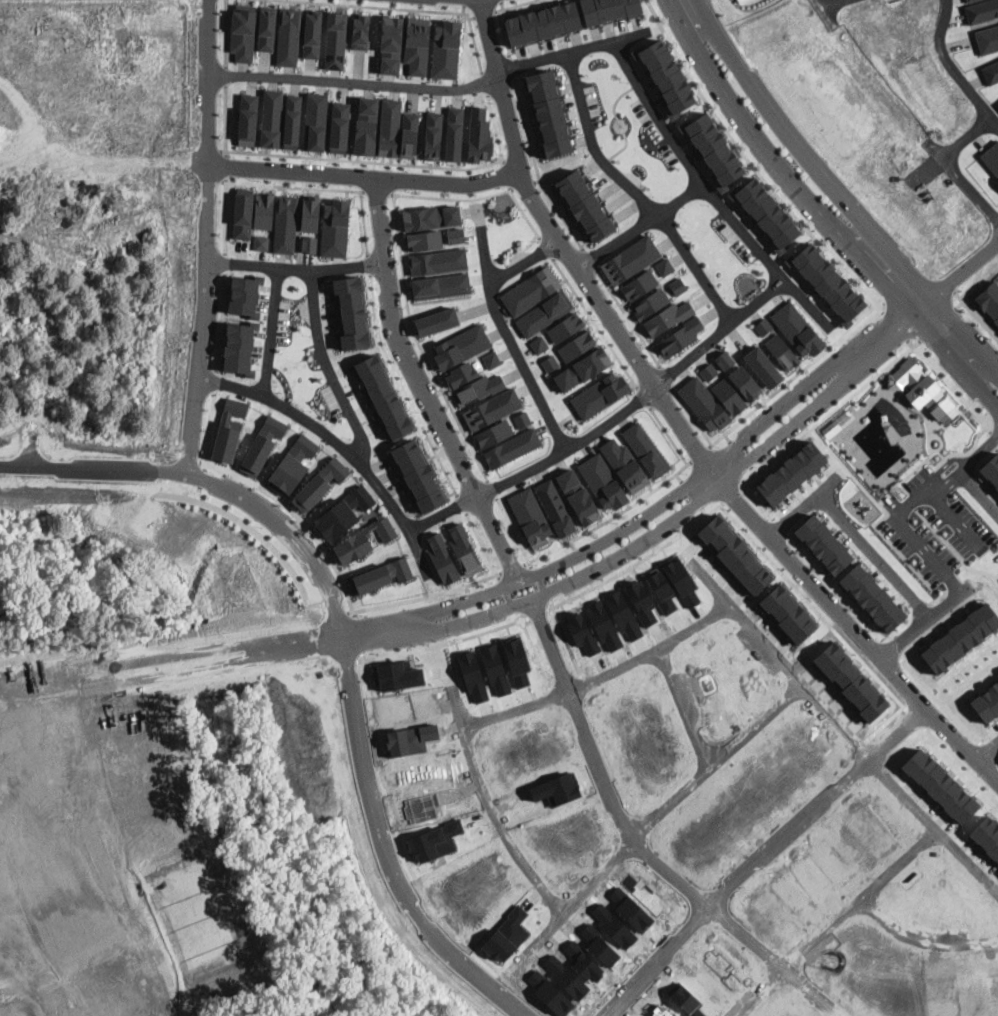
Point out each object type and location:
road: (501, 0)
road: (828, 0)
building: (970, 0)
road: (464, 2)
road: (503, 4)
road: (514, 5)
road: (384, 7)
road: (464, 8)
building: (608, 9)
building: (982, 10)
road: (484, 12)
building: (543, 22)
building: (267, 28)
building: (361, 30)
road: (226, 33)
building: (243, 33)
building: (312, 33)
road: (503, 33)
building: (288, 37)
building: (987, 39)
building: (335, 40)
building: (390, 43)
building: (418, 44)
road: (475, 45)
building: (446, 49)
road: (570, 51)
road: (952, 66)
road: (511, 67)
building: (991, 72)
road: (226, 76)
building: (666, 77)
road: (353, 82)
road: (485, 83)
road: (501, 86)
building: (548, 113)
building: (272, 118)
building: (248, 119)
road: (226, 120)
road: (746, 120)
building: (292, 121)
building: (315, 121)
road: (624, 122)
building: (366, 125)
road: (495, 126)
road: (616, 126)
building: (340, 127)
building: (389, 127)
building: (454, 134)
building: (409, 135)
building: (433, 135)
building: (480, 136)
building: (713, 148)
road: (804, 149)
building: (991, 157)
road: (340, 158)
road: (957, 161)
road: (131, 162)
road: (483, 164)
road: (226, 165)
road: (752, 165)
road: (537, 169)
road: (506, 173)
road: (364, 178)
road: (537, 180)
road: (260, 184)
road: (523, 184)
road: (312, 188)
road: (342, 189)
road: (377, 191)
road: (709, 191)
road: (635, 192)
road: (453, 198)
building: (585, 205)
building: (264, 210)
building: (243, 213)
building: (310, 213)
road: (523, 213)
road: (395, 214)
building: (766, 214)
road: (225, 215)
building: (431, 217)
road: (364, 222)
building: (285, 224)
road: (641, 227)
building: (335, 228)
building: (456, 235)
road: (207, 236)
building: (424, 240)
building: (261, 242)
building: (310, 243)
road: (526, 246)
road: (547, 249)
road: (590, 259)
building: (631, 259)
building: (438, 261)
road: (524, 261)
road: (223, 263)
road: (971, 263)
road: (367, 264)
building: (664, 266)
road: (296, 269)
road: (876, 272)
building: (826, 281)
building: (639, 285)
building: (441, 286)
building: (678, 286)
building: (531, 290)
road: (957, 293)
building: (244, 296)
road: (961, 299)
building: (988, 302)
building: (650, 303)
road: (959, 304)
building: (352, 312)
building: (545, 313)
building: (669, 316)
road: (628, 317)
road: (409, 319)
building: (437, 321)
road: (222, 323)
road: (595, 323)
road: (936, 323)
road: (895, 325)
building: (763, 326)
building: (566, 327)
building: (798, 329)
road: (958, 329)
road: (273, 332)
road: (719, 332)
road: (506, 334)
building: (680, 337)
road: (910, 342)
road: (915, 343)
building: (538, 344)
building: (577, 345)
building: (461, 346)
building: (240, 347)
building: (782, 351)
building: (491, 359)
building: (725, 360)
road: (956, 361)
building: (550, 362)
road: (328, 367)
building: (763, 367)
building: (583, 369)
building: (709, 371)
road: (800, 371)
building: (460, 374)
road: (666, 377)
road: (873, 377)
building: (745, 382)
road: (422, 387)
road: (402, 388)
building: (477, 389)
building: (922, 392)
building: (600, 394)
building: (729, 396)
building: (384, 397)
road: (644, 397)
building: (704, 403)
building: (492, 408)
road: (692, 416)
building: (522, 420)
road: (681, 425)
road: (461, 429)
building: (229, 430)
building: (493, 433)
road: (670, 437)
road: (929, 438)
road: (940, 439)
road: (716, 440)
building: (263, 444)
road: (570, 447)
building: (512, 448)
building: (646, 450)
road: (699, 453)
road: (740, 453)
road: (929, 455)
road: (353, 456)
road: (922, 463)
building: (293, 464)
building: (624, 465)
building: (991, 469)
road: (754, 470)
building: (791, 473)
building: (419, 475)
road: (679, 477)
building: (602, 481)
building: (319, 484)
road: (491, 488)
road: (900, 492)
road: (977, 492)
building: (578, 496)
road: (905, 502)
road: (910, 502)
road: (758, 503)
road: (462, 504)
road: (627, 507)
building: (555, 508)
road: (442, 512)
building: (344, 513)
road: (952, 514)
building: (531, 517)
road: (246, 525)
parking lot: (933, 526)
road: (782, 527)
road: (853, 531)
road: (514, 532)
road: (318, 541)
building: (363, 541)
building: (823, 544)
road: (482, 545)
building: (464, 548)
road: (953, 550)
road: (543, 554)
road: (902, 555)
road: (567, 560)
road: (512, 568)
building: (379, 576)
road: (483, 578)
road: (574, 578)
road: (836, 588)
building: (873, 597)
road: (388, 604)
road: (919, 624)
building: (961, 638)
road: (340, 642)
road: (890, 648)
road: (969, 681)
road: (690, 702)
building: (986, 702)
road: (942, 705)
road: (987, 752)
road: (993, 755)
road: (604, 764)
road: (486, 797)
road: (40, 804)
road: (82, 809)
road: (903, 851)
road: (966, 854)
road: (763, 860)
road: (923, 931)
road: (783, 960)

